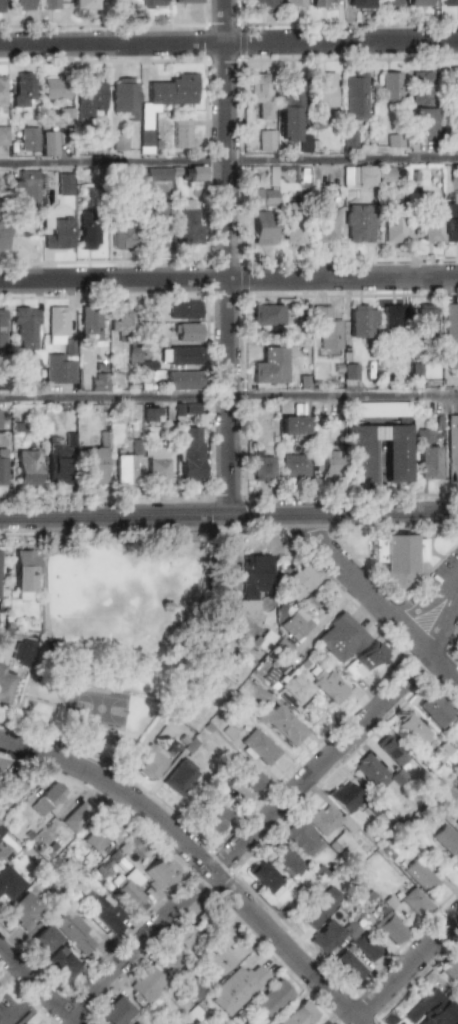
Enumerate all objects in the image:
building: (185, 1)
building: (147, 3)
building: (322, 3)
building: (389, 3)
building: (420, 3)
building: (449, 3)
building: (292, 4)
building: (357, 4)
building: (22, 5)
building: (49, 5)
building: (83, 5)
building: (0, 6)
building: (261, 6)
road: (229, 43)
road: (227, 80)
building: (389, 86)
building: (452, 86)
building: (22, 88)
building: (54, 88)
building: (421, 88)
building: (171, 89)
building: (291, 89)
building: (322, 91)
building: (1, 92)
building: (260, 94)
building: (354, 96)
building: (88, 97)
building: (123, 97)
building: (66, 116)
building: (421, 123)
building: (287, 124)
building: (181, 133)
building: (3, 135)
building: (456, 138)
building: (28, 139)
building: (266, 140)
building: (146, 141)
building: (348, 141)
building: (393, 141)
building: (119, 142)
building: (49, 143)
building: (303, 143)
road: (343, 159)
road: (114, 162)
building: (196, 173)
building: (157, 174)
building: (384, 174)
building: (357, 176)
building: (64, 184)
building: (24, 185)
building: (261, 197)
building: (429, 220)
building: (449, 222)
building: (358, 223)
building: (155, 224)
building: (186, 224)
building: (292, 225)
building: (391, 225)
building: (324, 226)
building: (263, 227)
building: (88, 230)
building: (58, 233)
building: (119, 233)
building: (3, 235)
road: (229, 279)
building: (183, 309)
building: (267, 315)
building: (391, 318)
building: (424, 320)
building: (360, 321)
building: (121, 323)
building: (450, 323)
building: (57, 324)
building: (90, 325)
building: (26, 327)
building: (327, 330)
building: (2, 331)
building: (186, 332)
road: (229, 337)
building: (133, 353)
building: (181, 355)
building: (452, 361)
building: (270, 366)
building: (58, 370)
building: (350, 374)
building: (183, 380)
building: (98, 382)
building: (2, 384)
road: (228, 397)
building: (186, 408)
building: (150, 414)
building: (293, 425)
building: (452, 447)
building: (393, 451)
building: (358, 453)
building: (190, 456)
building: (425, 456)
building: (58, 464)
building: (155, 464)
building: (327, 464)
building: (295, 465)
building: (92, 466)
building: (2, 467)
building: (262, 467)
building: (27, 468)
building: (124, 469)
road: (377, 478)
road: (228, 514)
building: (398, 557)
building: (22, 573)
building: (255, 579)
building: (298, 582)
road: (378, 600)
road: (431, 603)
building: (295, 625)
building: (4, 636)
park: (125, 637)
building: (341, 637)
building: (265, 641)
building: (23, 652)
building: (365, 661)
building: (6, 684)
building: (284, 685)
building: (329, 685)
building: (207, 686)
building: (434, 710)
building: (279, 724)
building: (413, 731)
building: (260, 746)
building: (391, 750)
building: (151, 763)
building: (370, 771)
building: (249, 775)
building: (179, 777)
building: (10, 788)
building: (442, 791)
building: (345, 796)
building: (46, 799)
building: (212, 813)
road: (273, 815)
building: (77, 816)
building: (327, 820)
building: (101, 834)
building: (302, 837)
building: (447, 841)
building: (342, 843)
building: (5, 848)
road: (199, 857)
building: (284, 860)
building: (159, 873)
building: (421, 876)
building: (265, 879)
building: (9, 882)
building: (130, 889)
building: (416, 902)
building: (322, 907)
building: (25, 910)
building: (106, 914)
building: (391, 928)
building: (74, 931)
building: (188, 936)
building: (326, 937)
building: (44, 939)
building: (220, 947)
building: (365, 948)
building: (172, 957)
building: (62, 963)
building: (348, 967)
building: (450, 968)
road: (408, 969)
road: (38, 985)
building: (147, 985)
building: (237, 989)
building: (272, 998)
building: (429, 1010)
building: (116, 1012)
building: (300, 1014)
building: (195, 1022)
building: (456, 1022)
building: (0, 1023)
building: (135, 1023)

